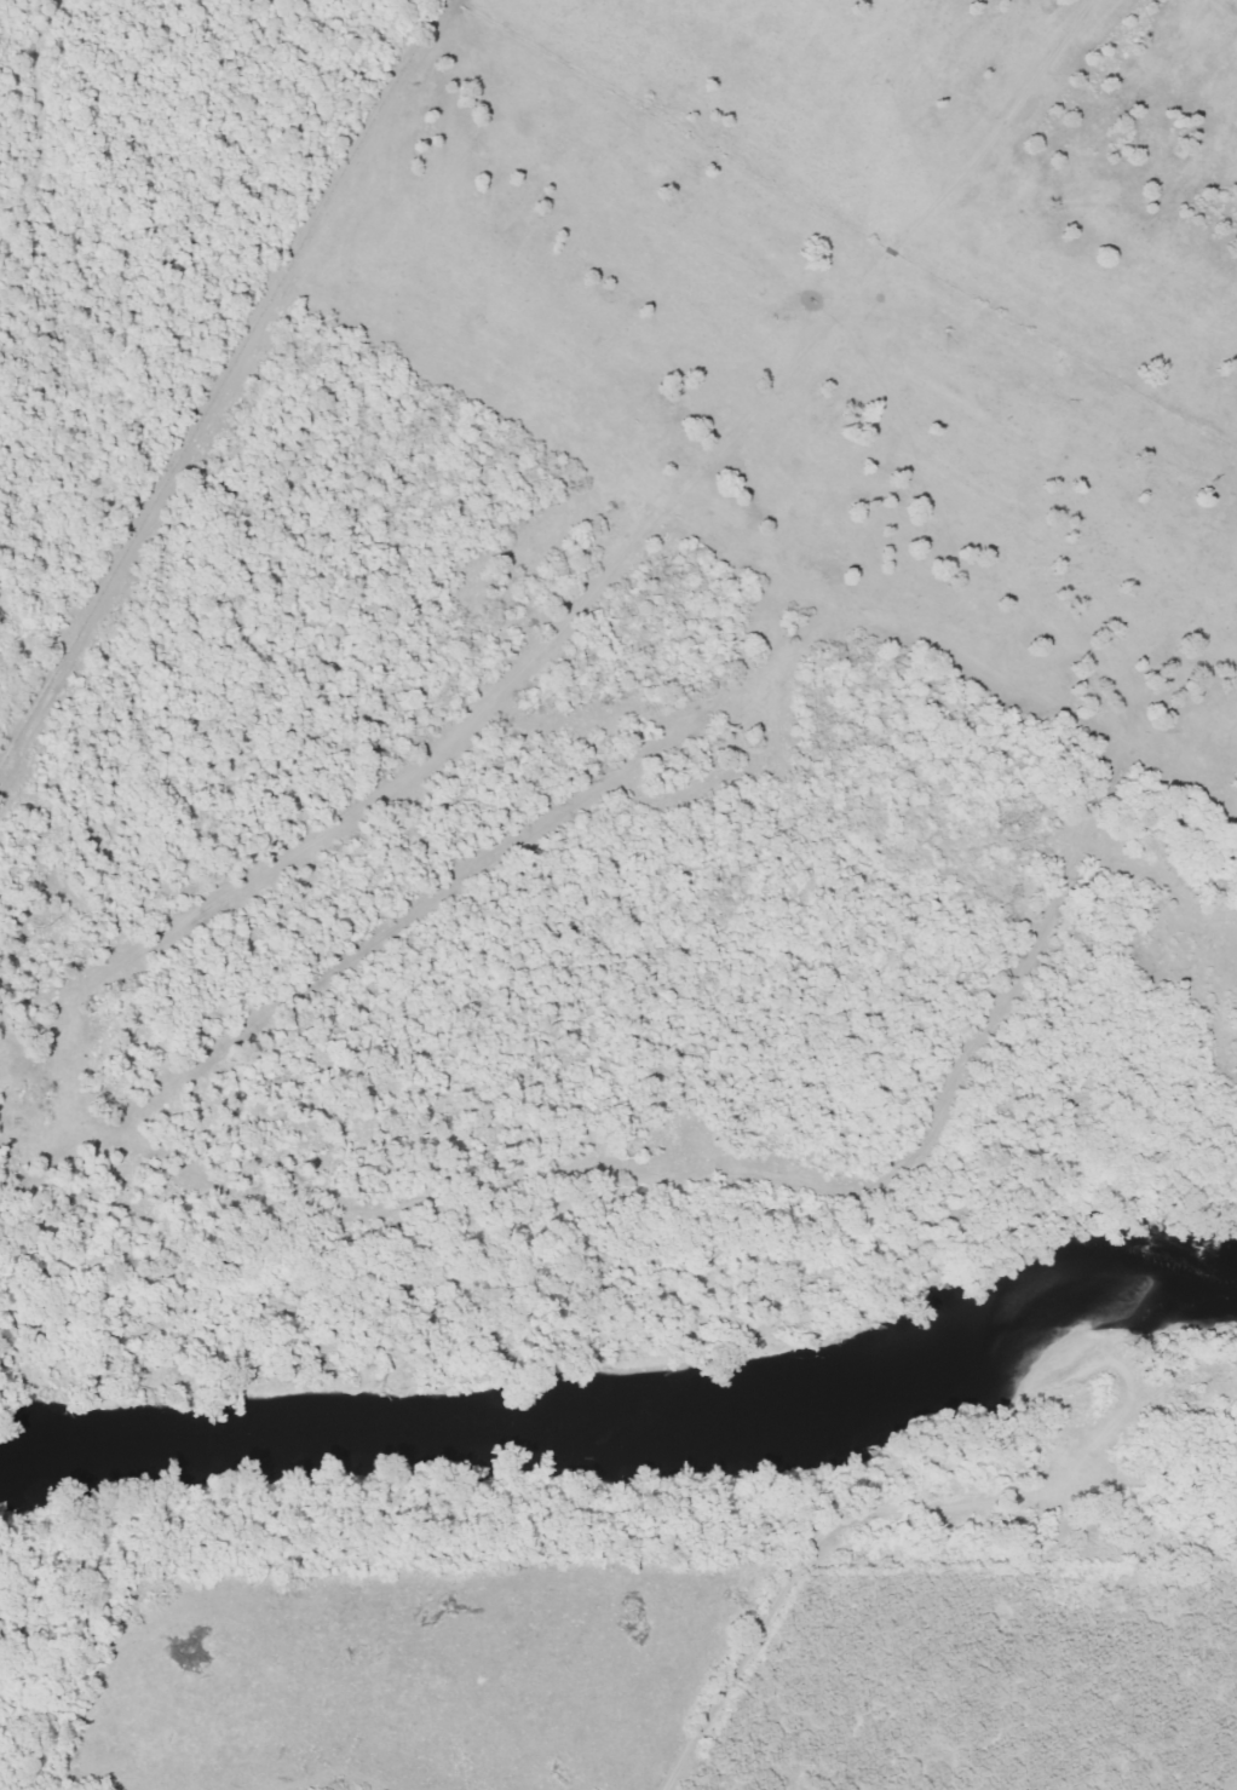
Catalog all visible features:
road: (1124, 823)
river: (620, 1380)
road: (687, 1675)

